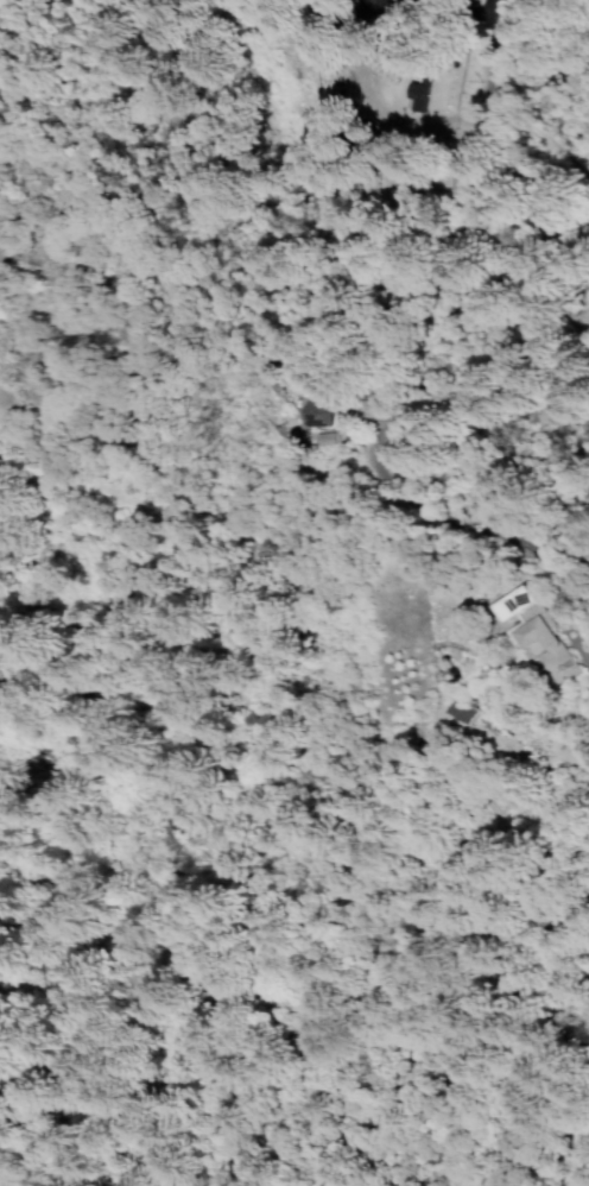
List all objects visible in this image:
road: (52, 37)
building: (416, 92)
road: (412, 368)
building: (318, 412)
crop: (431, 515)
building: (536, 638)
building: (460, 709)
road: (290, 765)

